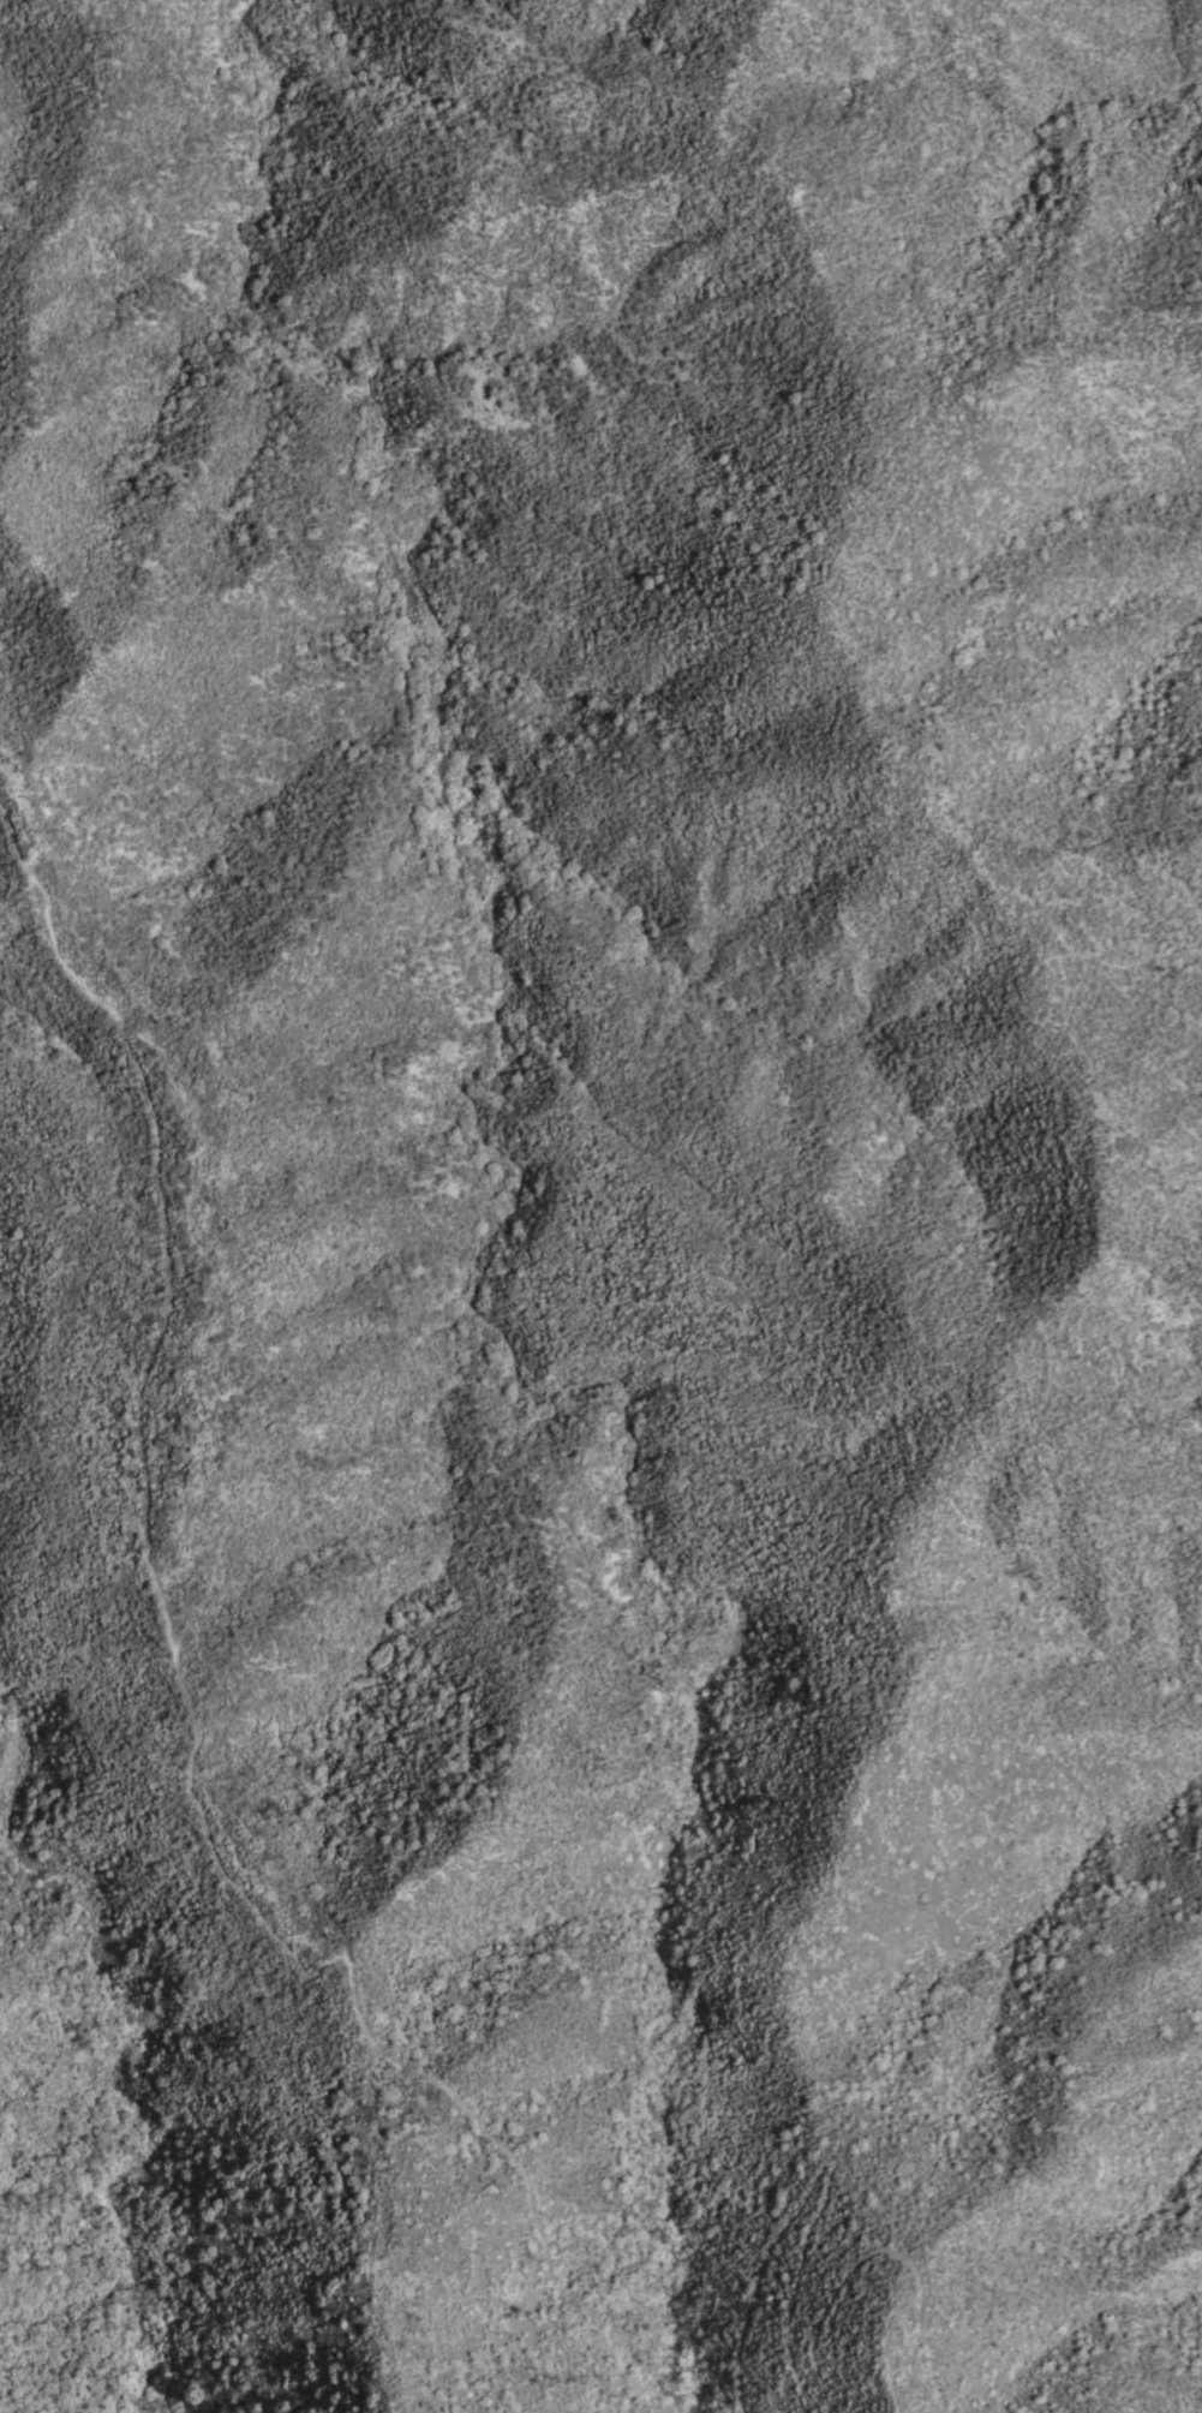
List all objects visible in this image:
road: (185, 1698)
road: (820, 2169)
road: (898, 2257)

